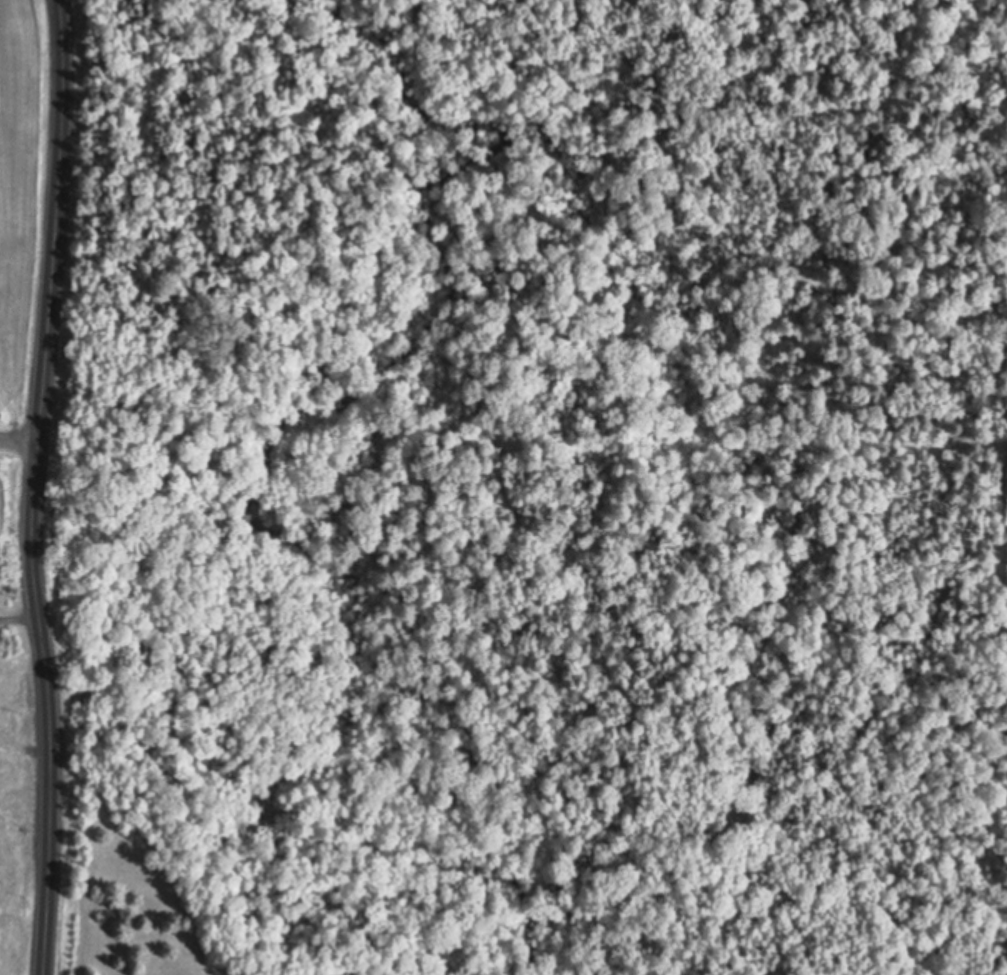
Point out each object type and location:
road: (17, 442)
road: (32, 487)

